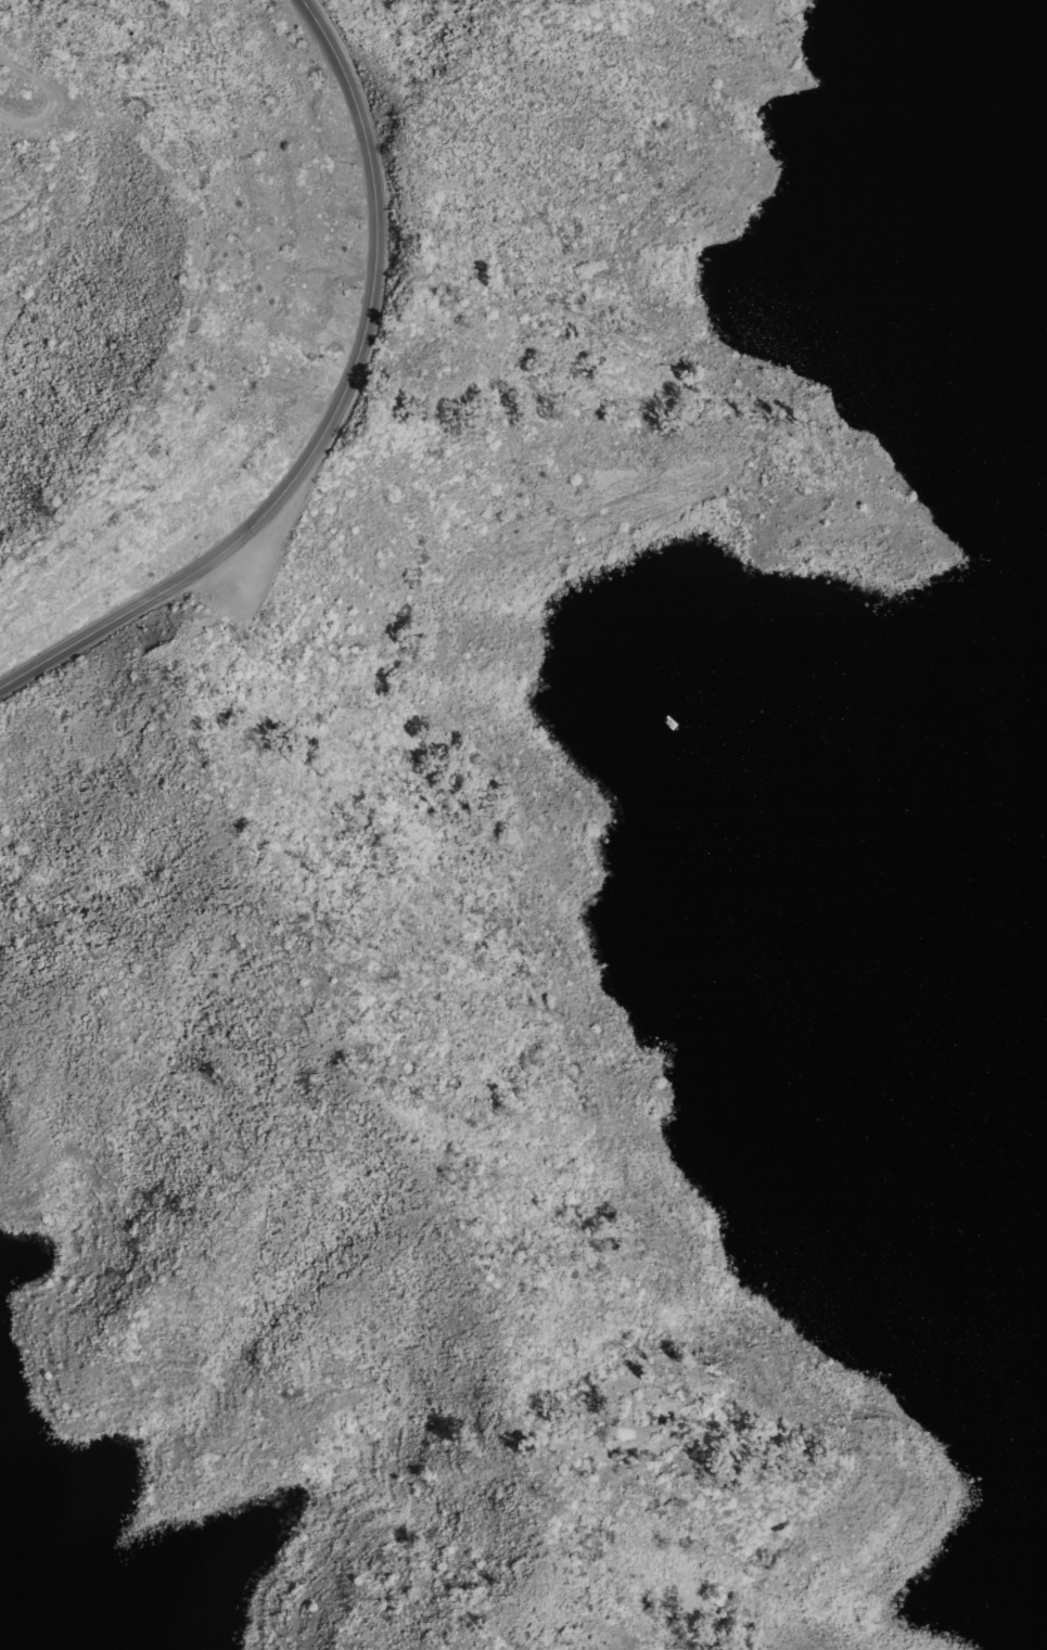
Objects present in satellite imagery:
road: (48, 93)
road: (329, 409)

